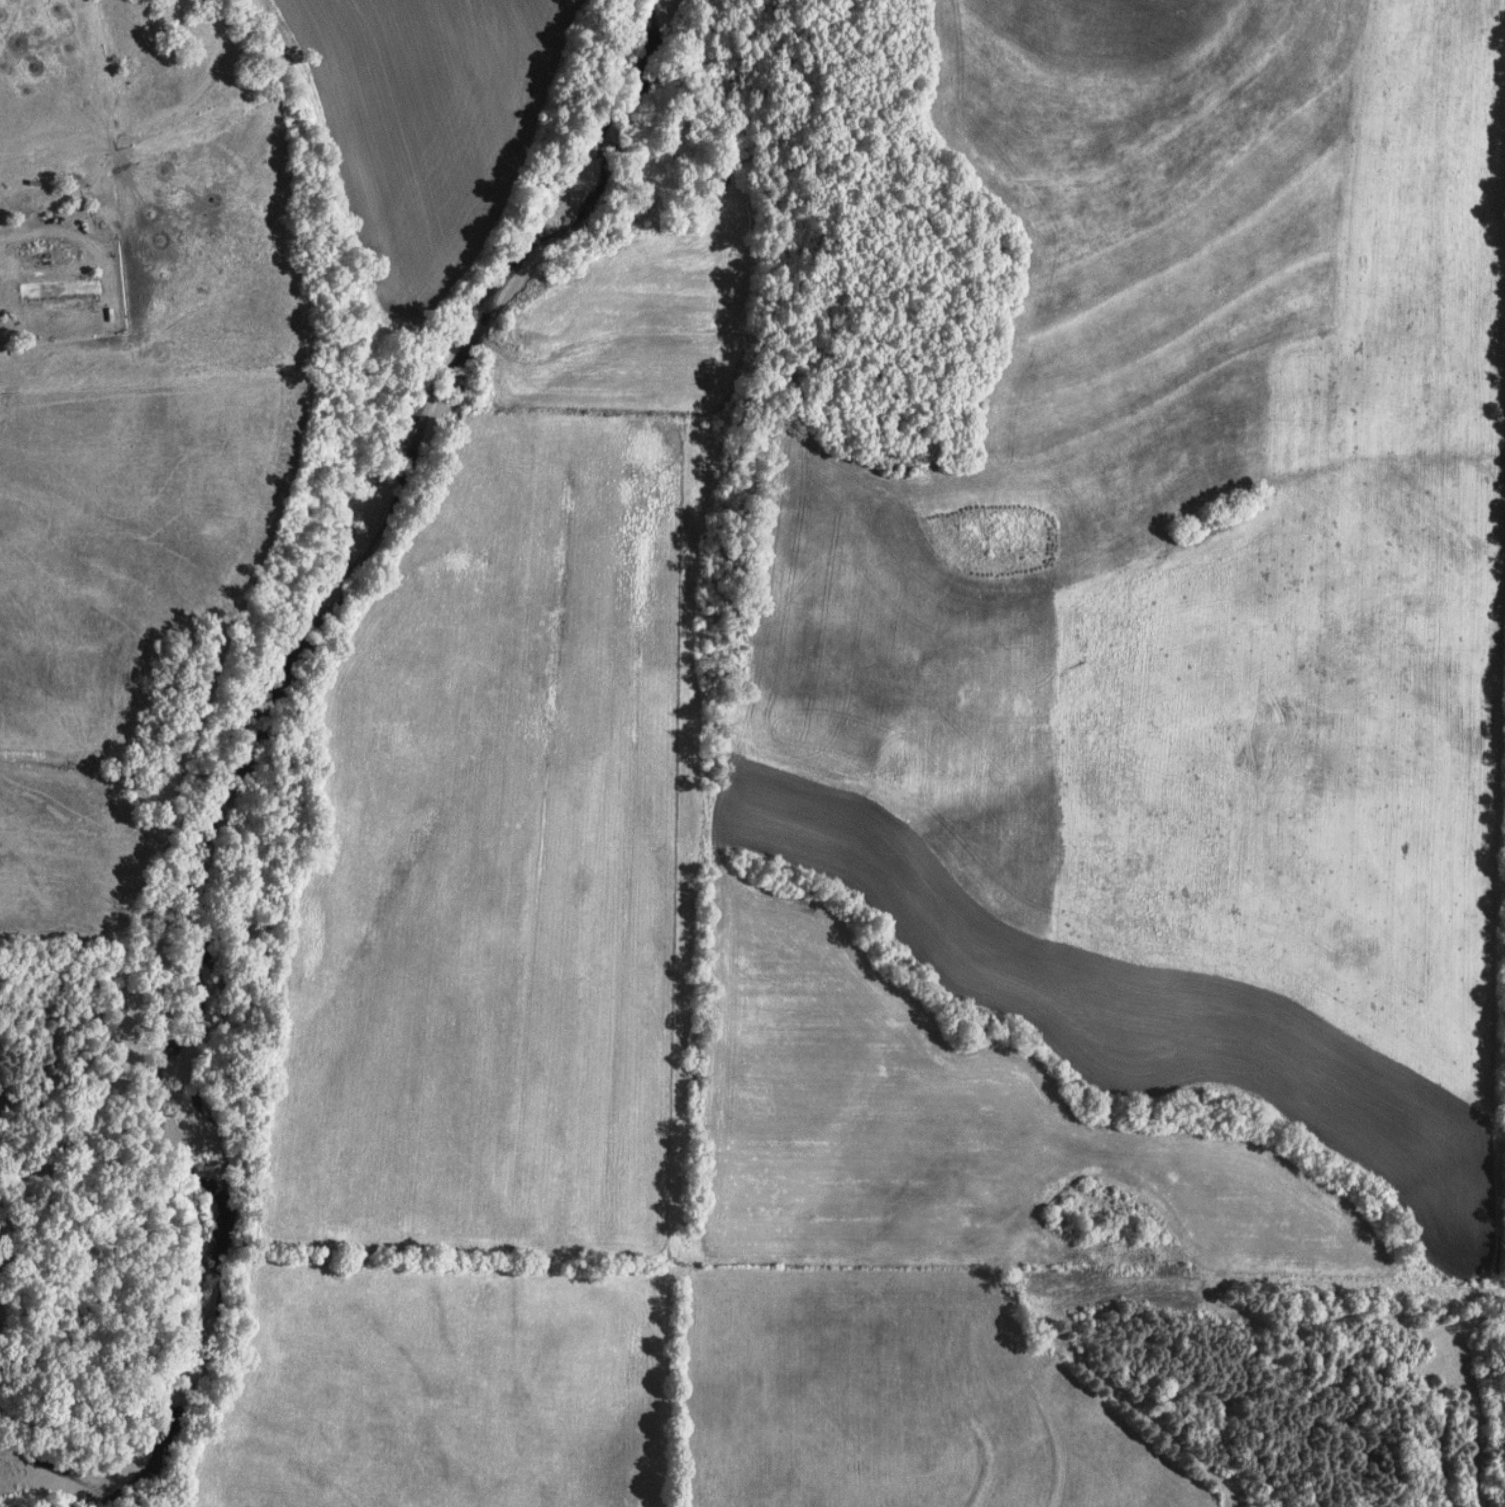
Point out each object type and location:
road: (16, 1367)

